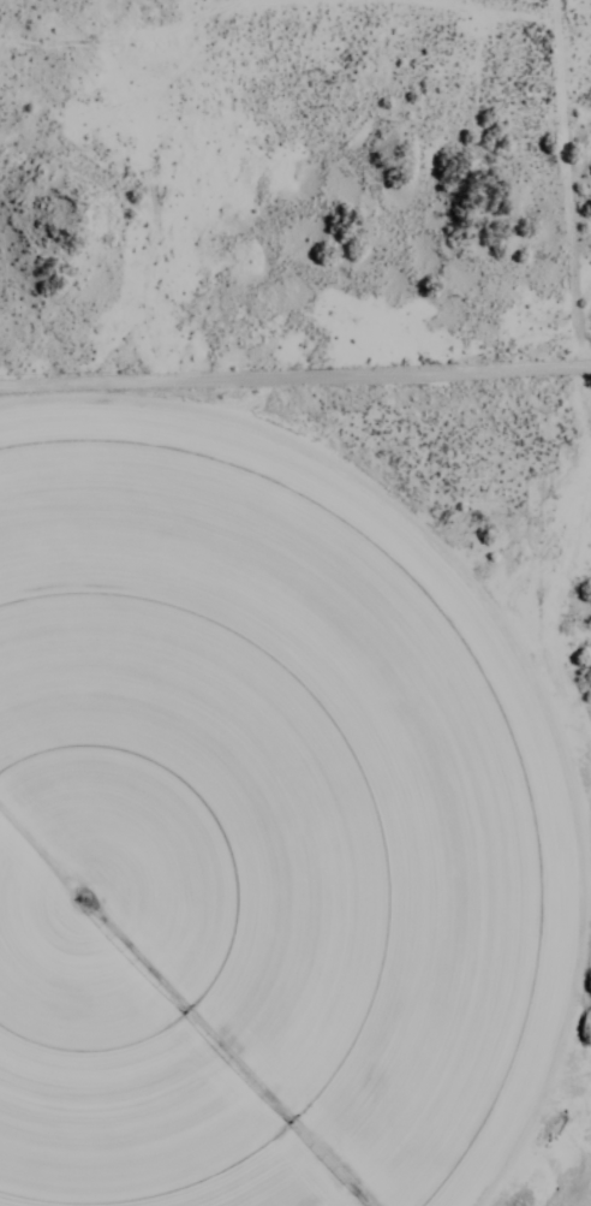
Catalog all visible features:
road: (295, 385)
crop: (243, 848)

